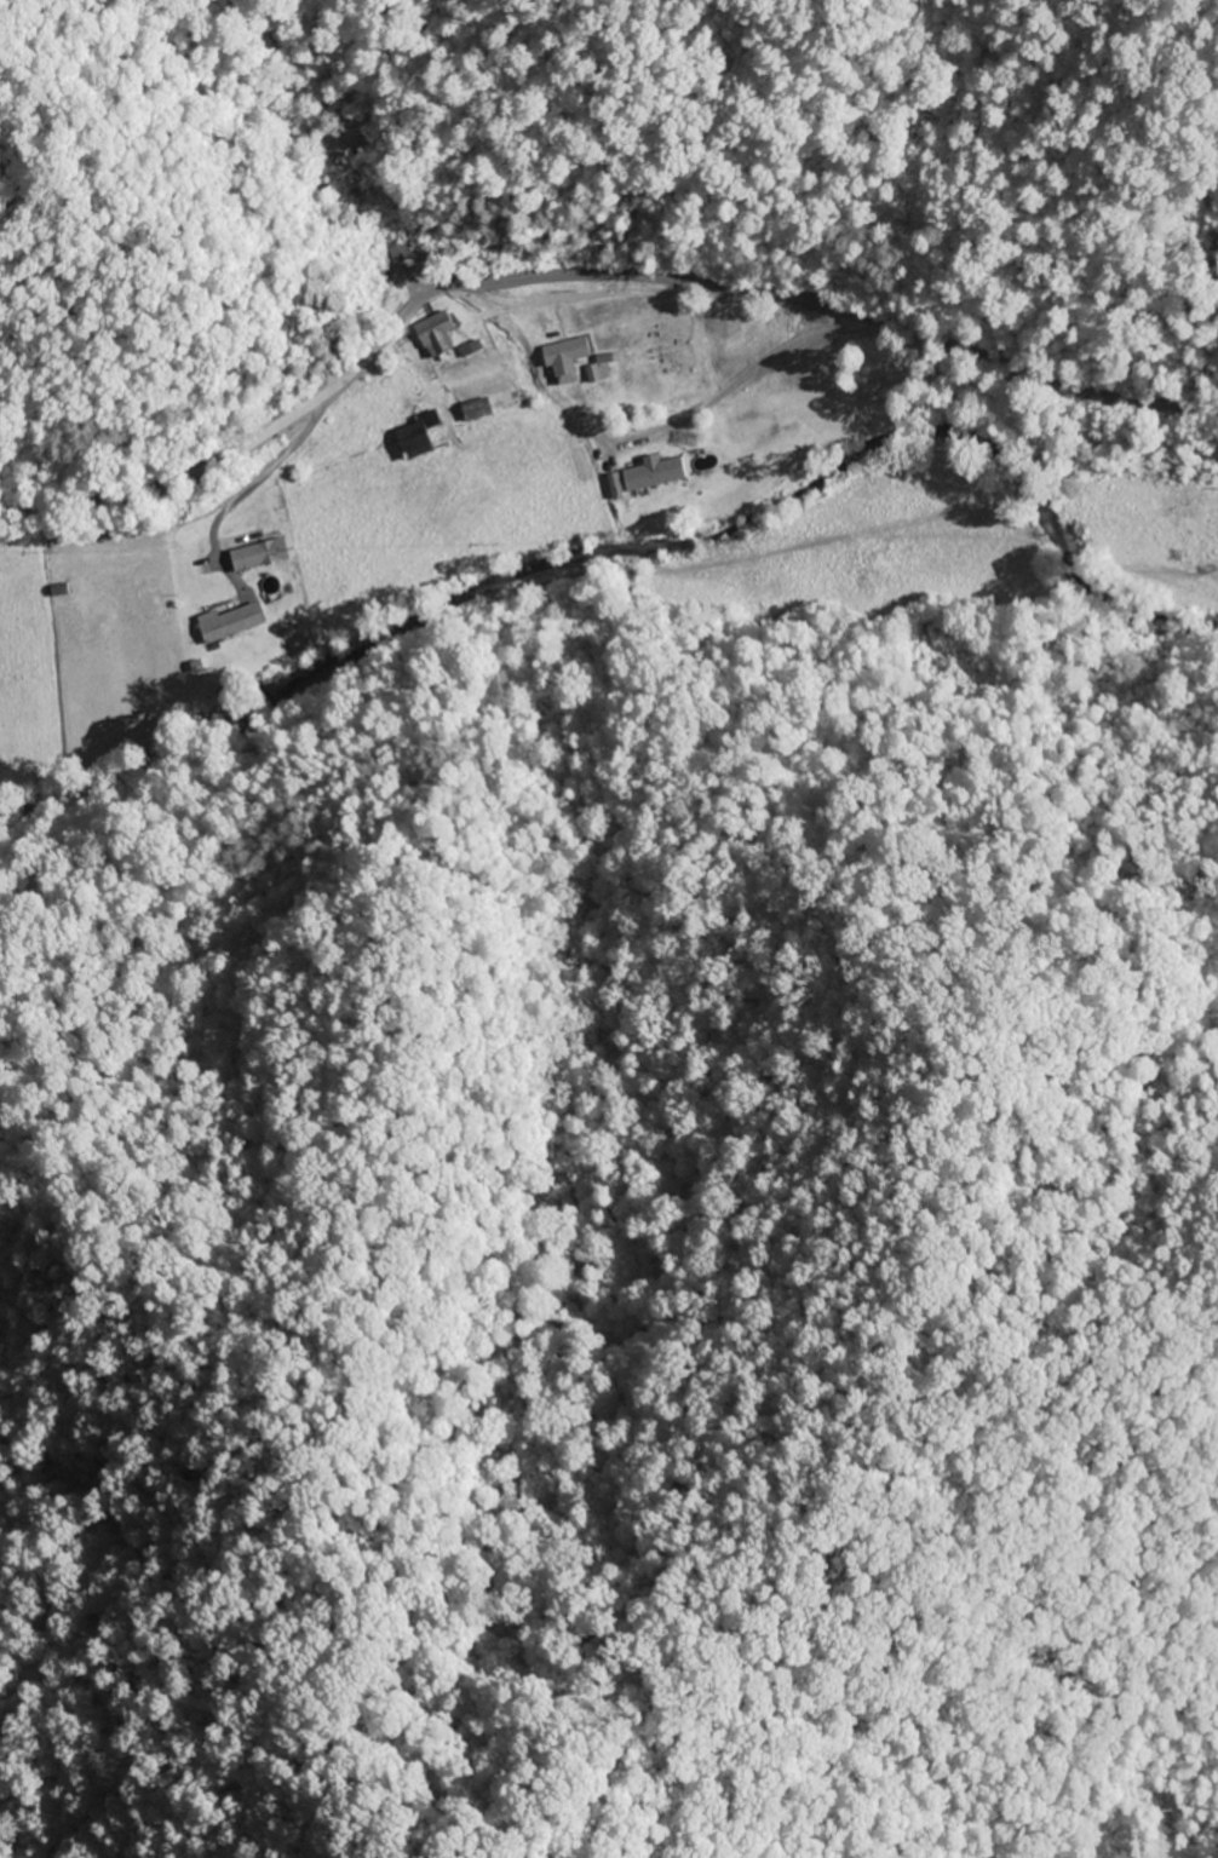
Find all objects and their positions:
road: (585, 280)
building: (431, 335)
building: (561, 361)
building: (472, 412)
building: (410, 438)
building: (648, 474)
building: (1208, 542)
building: (254, 556)
building: (56, 592)
building: (228, 622)

